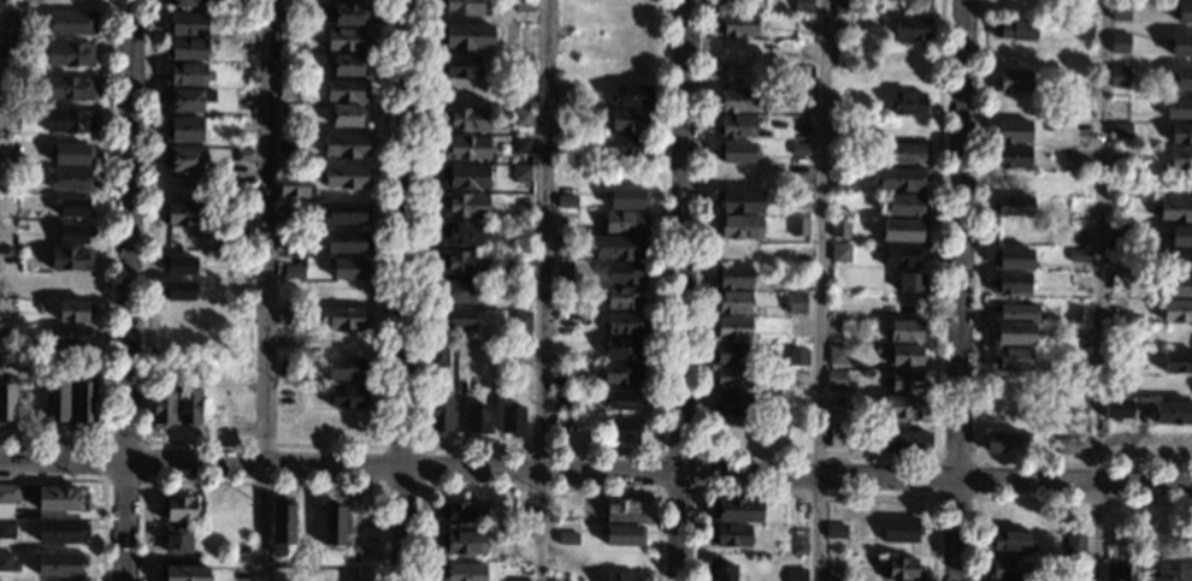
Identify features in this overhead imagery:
building: (346, 0)
building: (184, 2)
building: (521, 6)
building: (720, 6)
building: (802, 6)
building: (464, 7)
building: (843, 8)
building: (1120, 8)
building: (1182, 10)
building: (342, 14)
building: (867, 14)
building: (248, 22)
building: (71, 23)
building: (842, 23)
building: (187, 24)
building: (737, 24)
building: (35, 25)
building: (911, 29)
building: (1014, 29)
building: (1082, 30)
building: (465, 36)
building: (346, 40)
building: (1120, 41)
building: (1180, 43)
building: (8, 49)
building: (187, 49)
building: (70, 54)
building: (346, 66)
building: (458, 66)
building: (521, 67)
building: (188, 75)
building: (1119, 75)
building: (1182, 76)
building: (1011, 81)
building: (8, 83)
building: (67, 88)
building: (288, 88)
building: (344, 91)
building: (563, 93)
building: (631, 95)
building: (187, 99)
building: (734, 101)
building: (908, 105)
building: (1178, 108)
building: (347, 117)
building: (523, 118)
building: (465, 120)
building: (629, 120)
building: (69, 121)
building: (734, 126)
building: (183, 130)
building: (1120, 130)
building: (1011, 131)
building: (1180, 134)
building: (285, 143)
building: (520, 144)
building: (346, 146)
building: (627, 146)
building: (465, 148)
building: (801, 148)
building: (742, 152)
building: (70, 154)
building: (905, 154)
building: (10, 155)
building: (243, 155)
building: (1010, 155)
building: (1179, 159)
building: (183, 160)
building: (521, 172)
building: (347, 176)
building: (464, 177)
building: (71, 179)
building: (842, 179)
building: (901, 179)
building: (294, 186)
building: (627, 196)
building: (566, 200)
building: (798, 201)
building: (738, 202)
building: (464, 204)
building: (1013, 204)
building: (904, 206)
building: (73, 207)
building: (1174, 211)
building: (347, 213)
building: (182, 214)
building: (290, 219)
building: (624, 223)
building: (20, 226)
building: (738, 226)
building: (798, 227)
building: (839, 227)
building: (903, 231)
building: (73, 233)
building: (462, 233)
building: (1116, 235)
building: (1181, 235)
building: (289, 241)
building: (228, 242)
building: (347, 242)
building: (563, 245)
building: (619, 248)
building: (840, 253)
building: (1078, 254)
building: (901, 255)
building: (1011, 257)
building: (70, 259)
building: (520, 260)
building: (1176, 260)
building: (177, 263)
building: (462, 263)
building: (287, 265)
building: (346, 267)
road: (106, 271)
building: (562, 271)
building: (625, 273)
building: (731, 278)
building: (910, 283)
building: (1013, 283)
building: (1117, 284)
building: (1176, 285)
building: (521, 287)
road: (128, 290)
building: (177, 290)
road: (266, 290)
road: (405, 290)
road: (541, 290)
road: (683, 290)
road: (820, 290)
road: (963, 290)
road: (1098, 290)
building: (462, 292)
building: (622, 298)
building: (732, 303)
building: (795, 303)
building: (1176, 310)
building: (75, 313)
building: (1019, 313)
building: (285, 315)
building: (347, 319)
building: (456, 319)
building: (520, 320)
building: (624, 324)
building: (796, 327)
building: (731, 328)
building: (907, 332)
building: (1013, 333)
road: (979, 334)
building: (70, 336)
building: (622, 349)
building: (731, 354)
building: (438, 355)
building: (838, 355)
building: (905, 356)
building: (1076, 356)
building: (1013, 358)
building: (12, 361)
building: (1178, 362)
building: (346, 368)
building: (620, 373)
building: (731, 378)
building: (798, 378)
building: (836, 380)
building: (904, 381)
building: (347, 396)
building: (624, 399)
building: (82, 403)
building: (55, 404)
building: (732, 404)
building: (6, 405)
building: (189, 407)
building: (163, 408)
building: (902, 408)
building: (1117, 409)
building: (1173, 413)
building: (439, 416)
building: (512, 419)
building: (476, 420)
building: (624, 428)
road: (144, 439)
road: (265, 440)
building: (904, 441)
building: (1005, 441)
road: (419, 444)
building: (1070, 445)
road: (542, 446)
road: (696, 451)
road: (818, 452)
road: (934, 456)
road: (596, 470)
road: (102, 478)
road: (261, 480)
road: (536, 485)
road: (812, 492)
road: (1043, 498)
building: (7, 499)
building: (60, 499)
building: (177, 509)
building: (736, 509)
building: (624, 511)
building: (462, 514)
building: (334, 523)
building: (282, 526)
building: (6, 529)
building: (898, 529)
building: (61, 532)
building: (834, 532)
building: (567, 535)
building: (624, 535)
building: (730, 535)
building: (177, 540)
building: (1009, 541)
building: (461, 543)
building: (1074, 544)
building: (7, 563)
building: (60, 564)
building: (721, 569)
building: (902, 569)
building: (1007, 569)
building: (460, 571)
building: (1116, 571)
building: (1173, 571)
building: (182, 574)
building: (795, 574)
building: (836, 575)
building: (621, 577)
building: (70, 580)
building: (517, 580)
building: (1002, 580)

